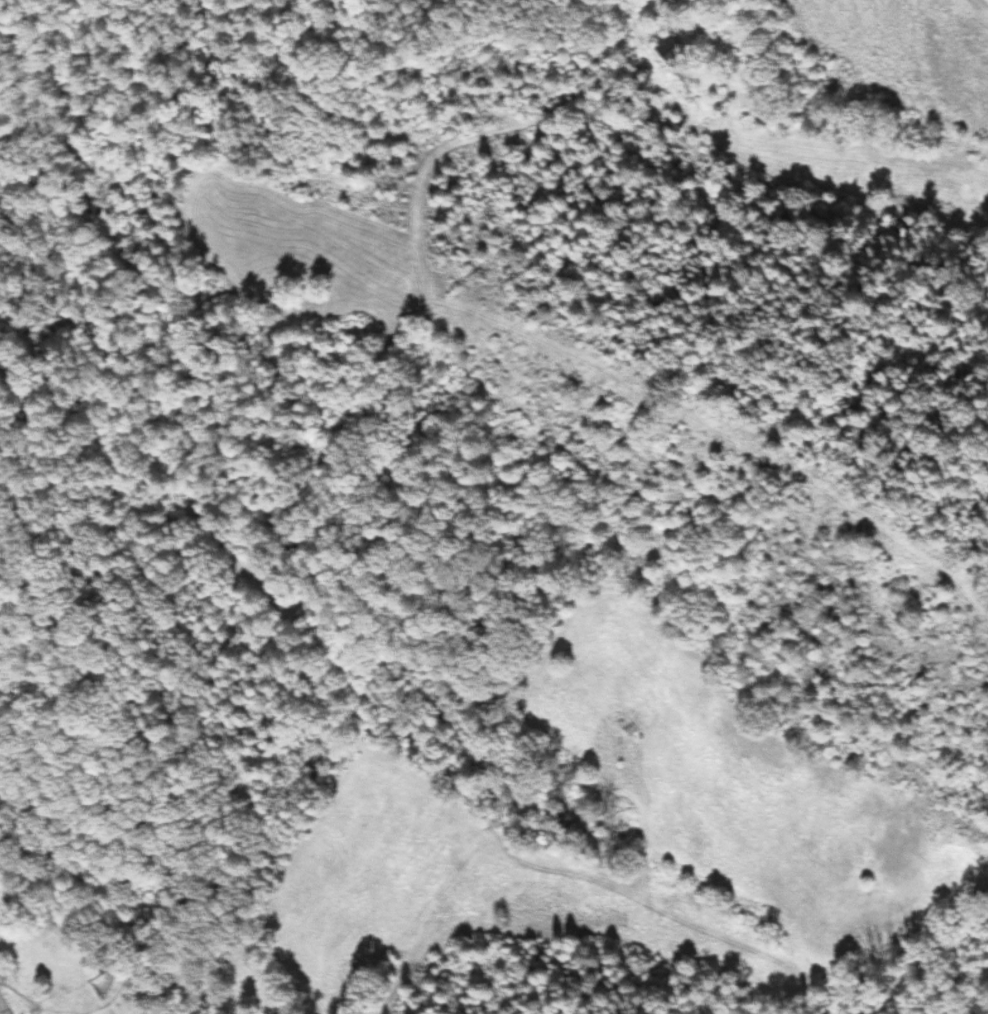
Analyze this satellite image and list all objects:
building: (666, 47)
building: (674, 128)
road: (481, 130)
road: (492, 317)
road: (877, 951)

